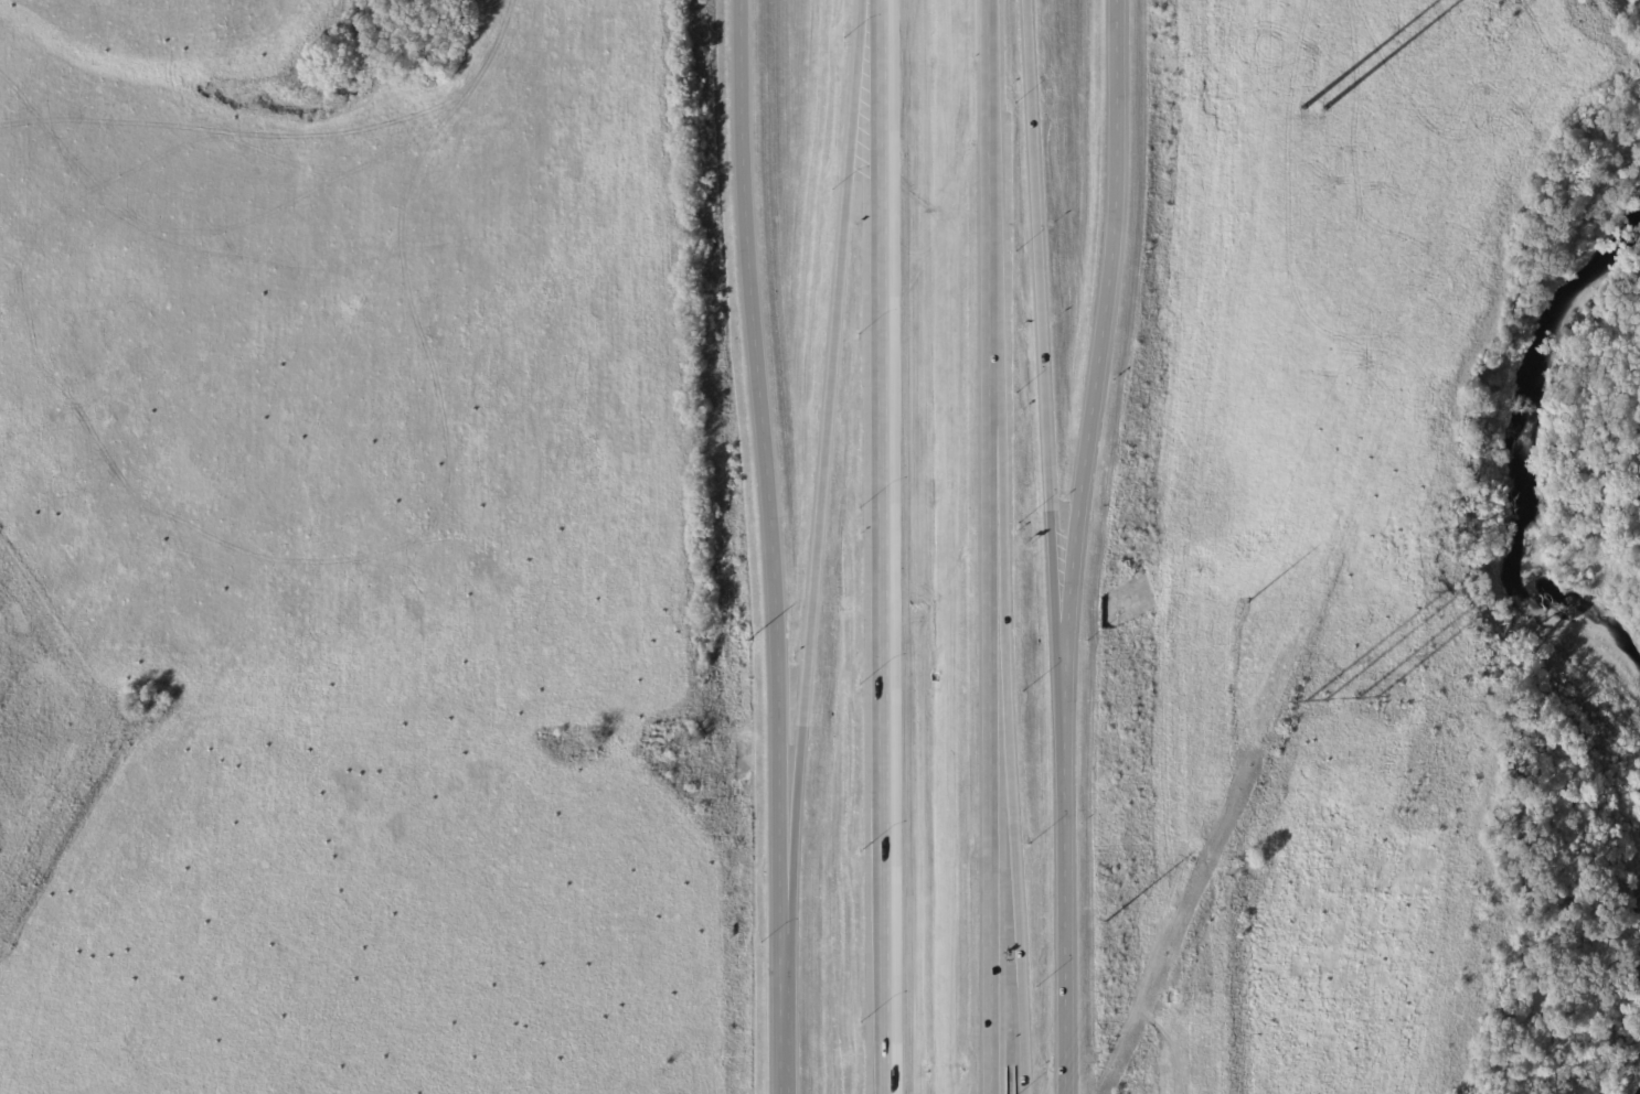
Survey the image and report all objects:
power tower: (1502, 24)
power tower: (1311, 110)
road: (1051, 345)
road: (827, 474)
river: (1520, 479)
road: (779, 546)
road: (1003, 546)
road: (1083, 546)
road: (881, 547)
power tower: (1248, 603)
power tower: (1338, 702)
road: (1016, 836)
power tower: (1107, 922)
river: (1582, 1016)

